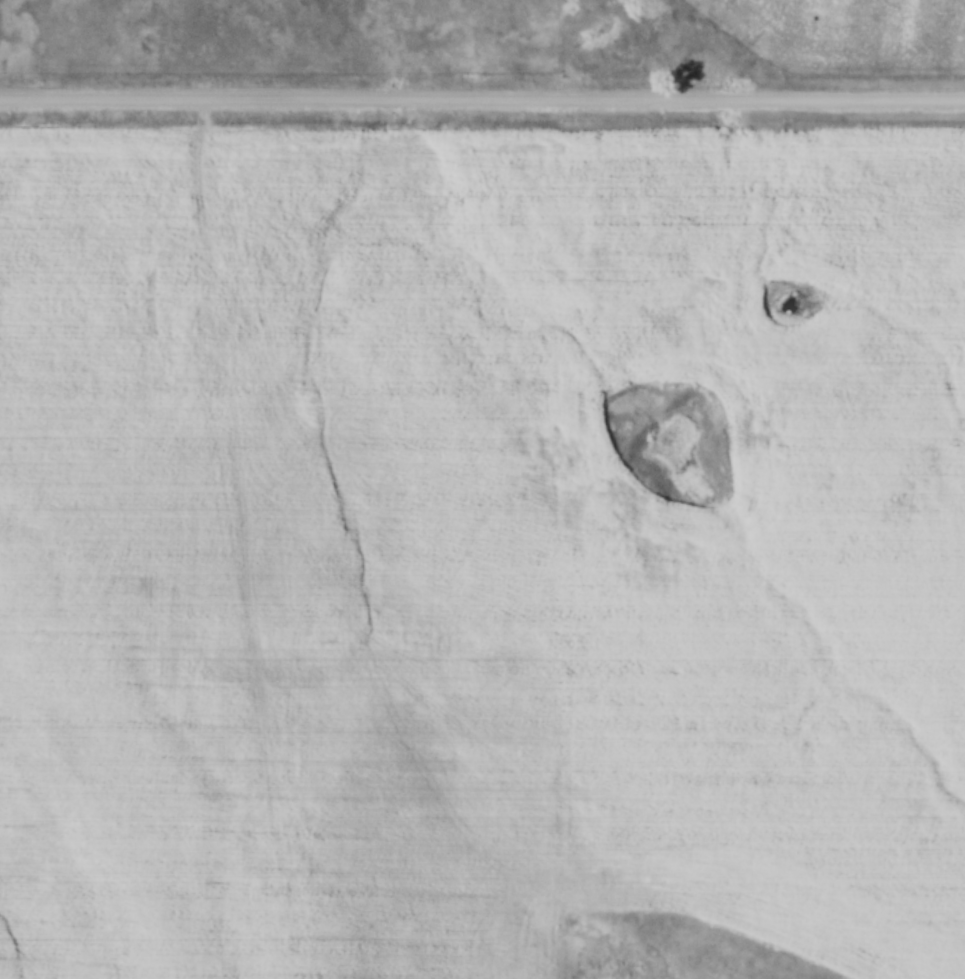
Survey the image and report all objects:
road: (482, 99)

